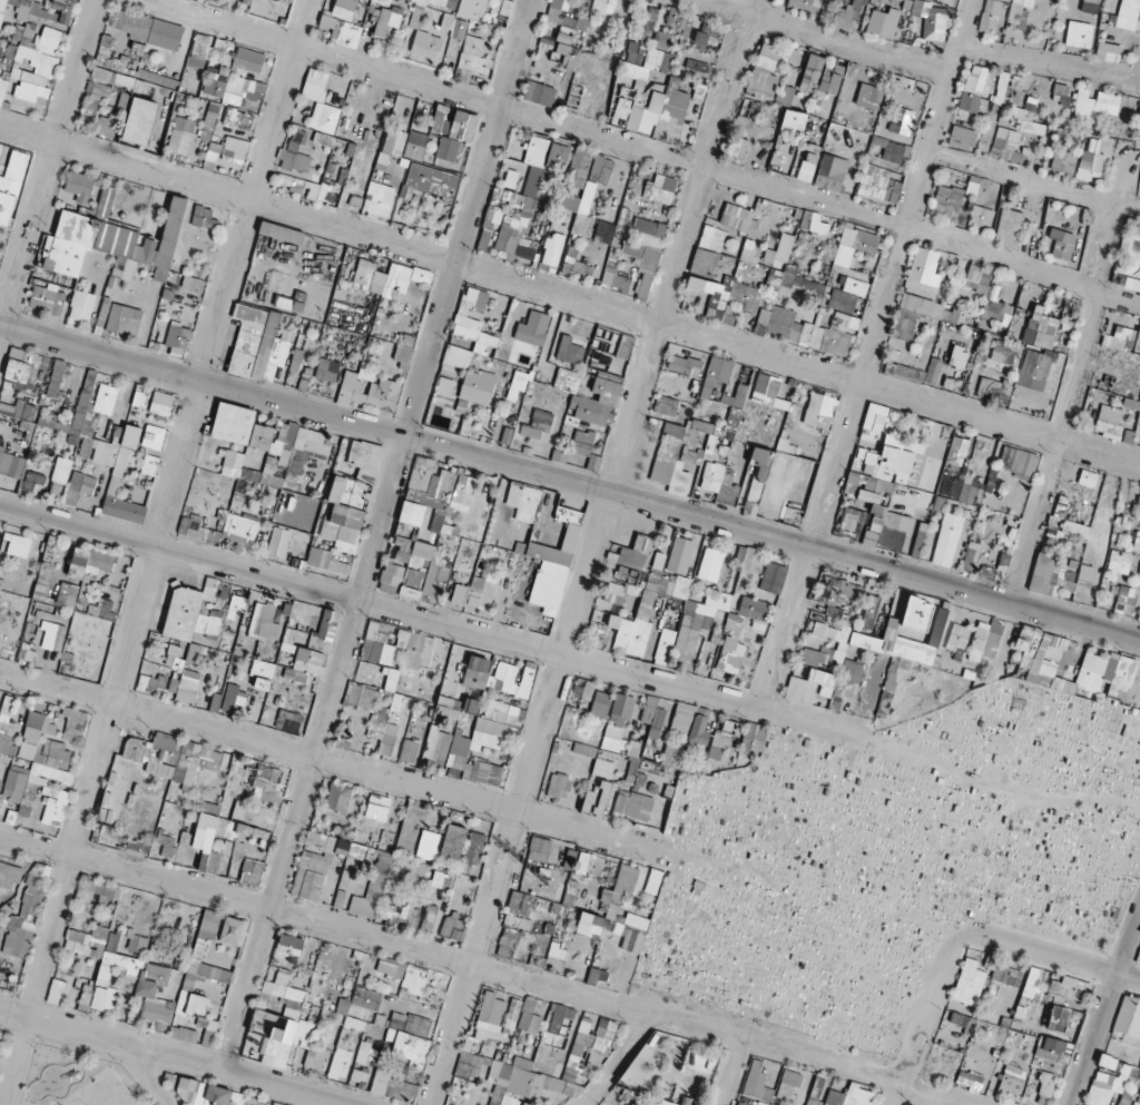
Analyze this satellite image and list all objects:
park: (892, 866)

